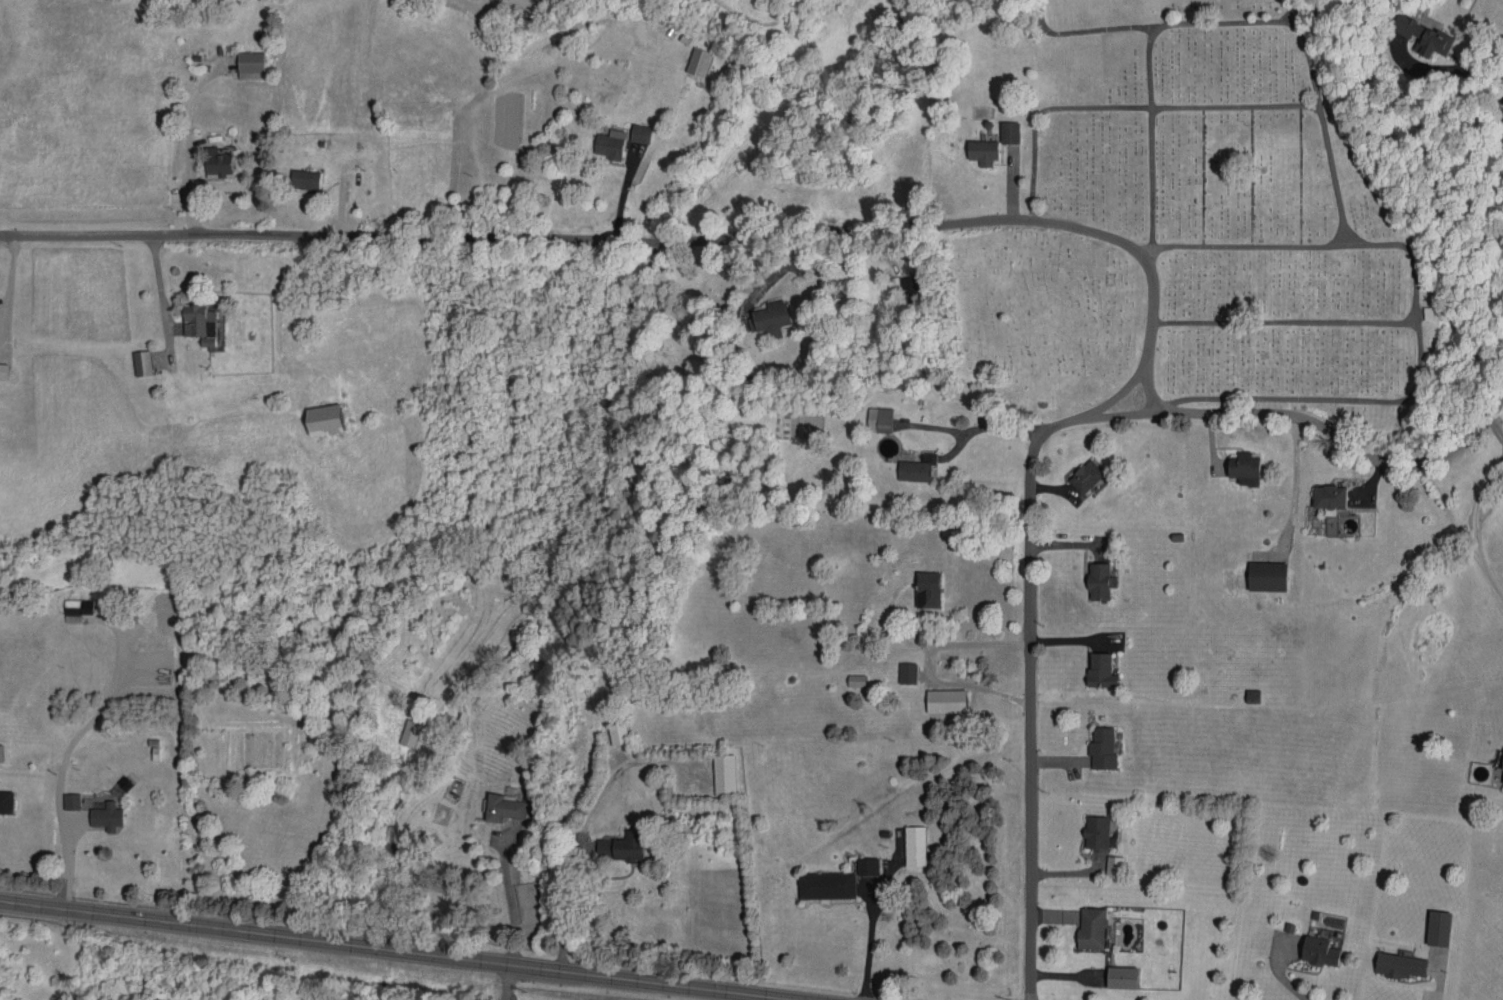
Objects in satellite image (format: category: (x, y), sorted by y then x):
building: (1424, 35)
building: (700, 61)
building: (252, 65)
road: (1475, 83)
building: (1011, 132)
building: (642, 133)
road: (187, 140)
building: (611, 143)
building: (984, 151)
building: (220, 163)
building: (306, 179)
park: (1237, 193)
road: (526, 234)
building: (911, 293)
road: (8, 294)
road: (1152, 299)
building: (771, 318)
building: (199, 321)
park: (1034, 322)
building: (142, 362)
building: (4, 370)
road: (1154, 399)
building: (326, 419)
building: (880, 419)
road: (989, 424)
road: (1032, 464)
building: (918, 468)
building: (1246, 468)
building: (1087, 476)
building: (1331, 497)
road: (1472, 511)
building: (1268, 576)
building: (1102, 581)
building: (929, 589)
building: (77, 609)
road: (927, 664)
building: (1103, 670)
building: (908, 672)
building: (857, 680)
building: (947, 700)
building: (411, 732)
building: (619, 733)
building: (1104, 748)
building: (2, 752)
road: (64, 757)
building: (725, 774)
building: (7, 801)
building: (72, 801)
building: (505, 807)
building: (107, 816)
building: (1098, 831)
building: (916, 845)
building: (622, 846)
building: (869, 866)
building: (1116, 866)
building: (827, 885)
road: (508, 892)
road: (565, 905)
building: (1094, 927)
building: (1440, 927)
road: (405, 950)
building: (1321, 951)
building: (1402, 965)
building: (1124, 976)
road: (1281, 980)
road: (508, 981)
road: (1436, 985)
road: (510, 995)

